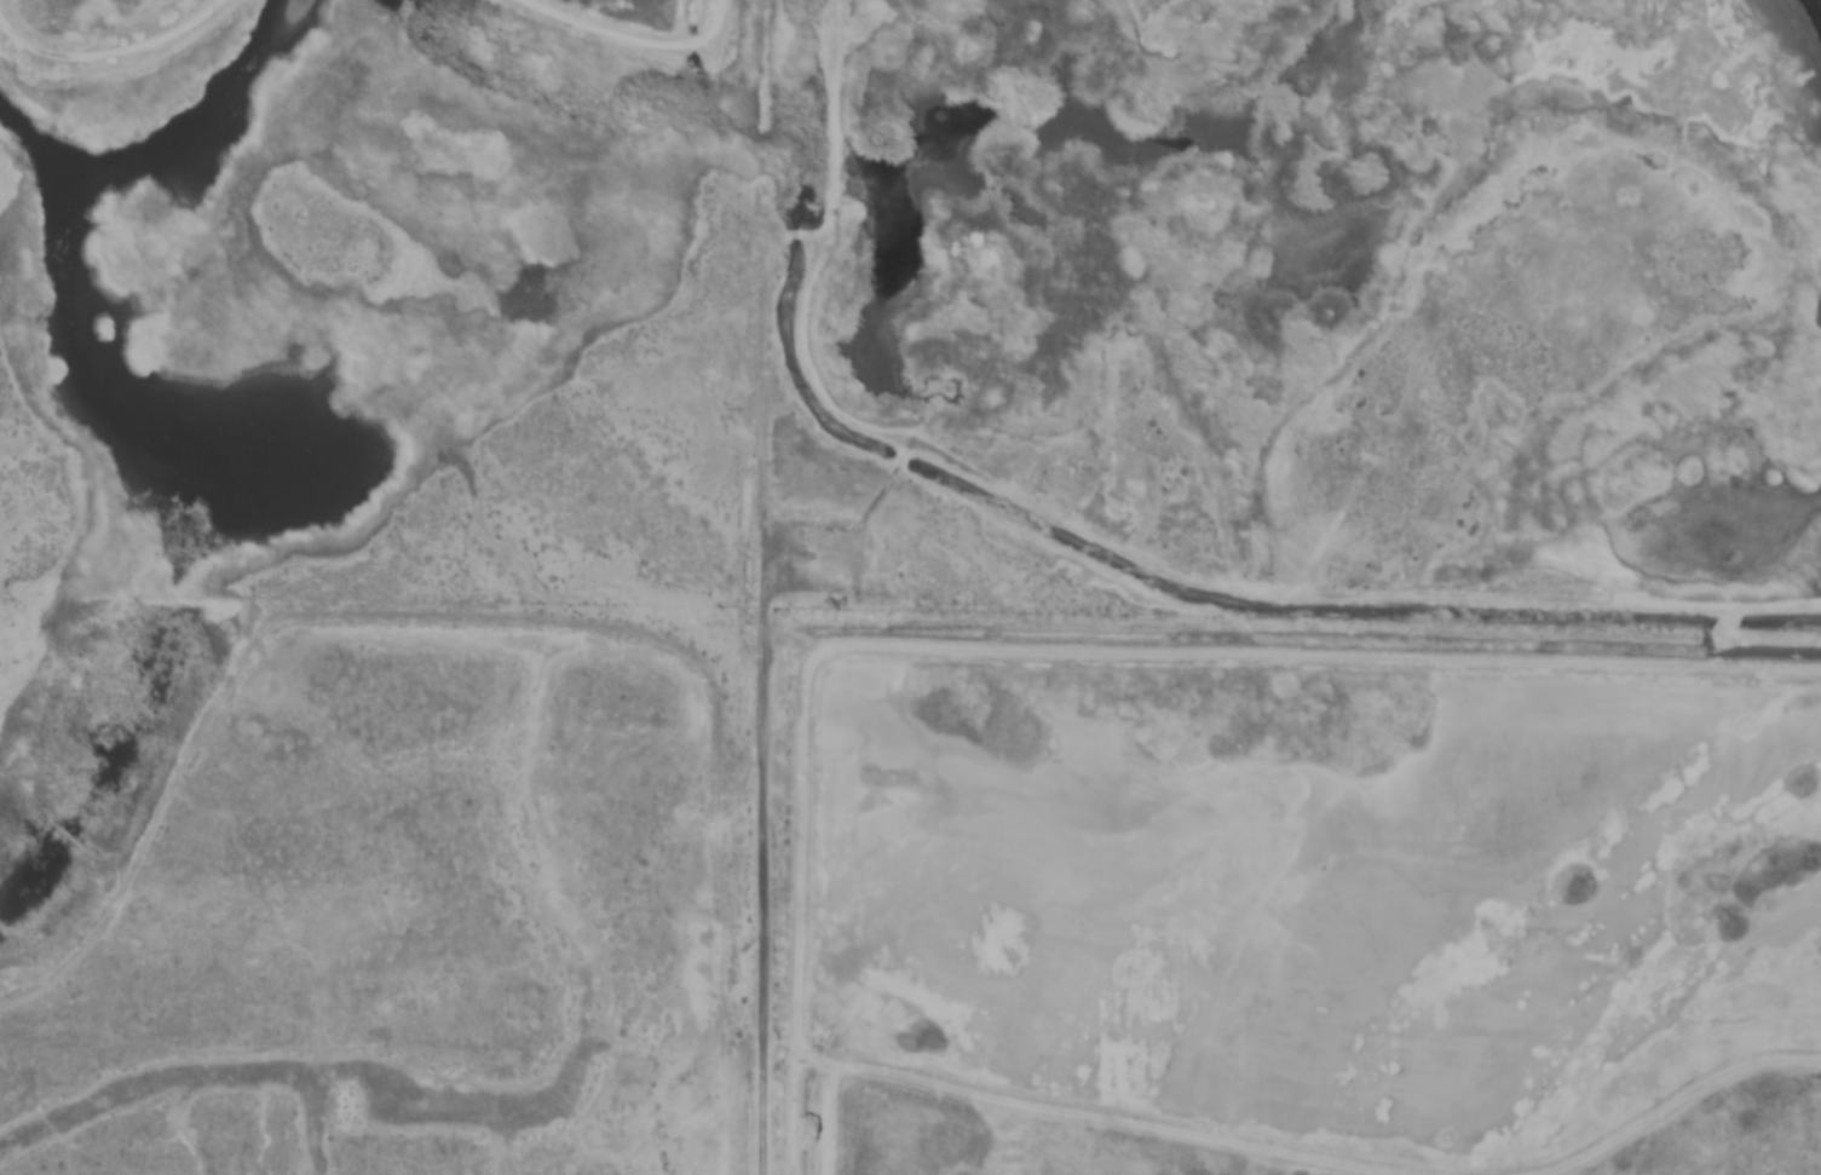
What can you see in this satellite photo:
road: (772, 940)

